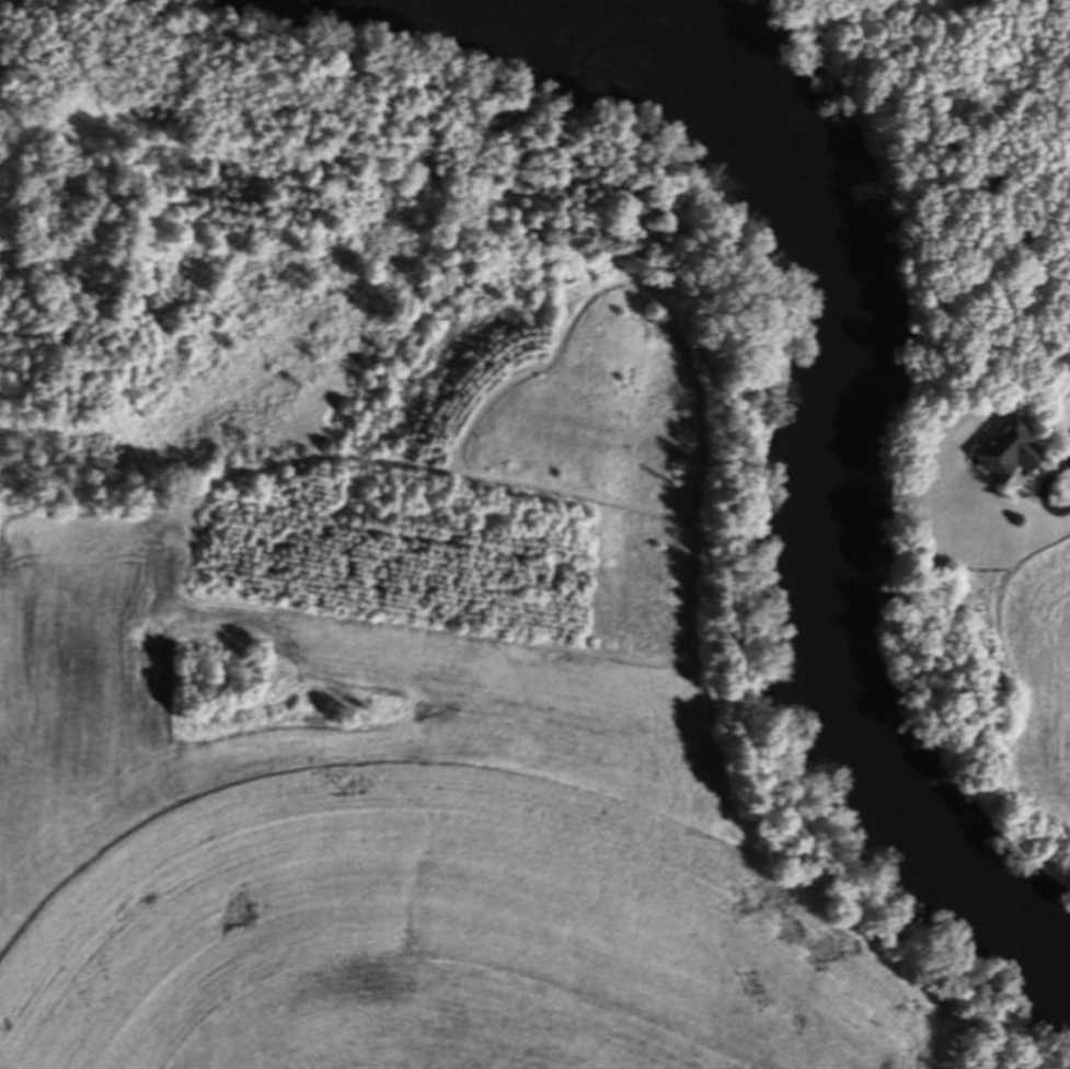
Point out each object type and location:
building: (1010, 452)
river: (832, 491)

